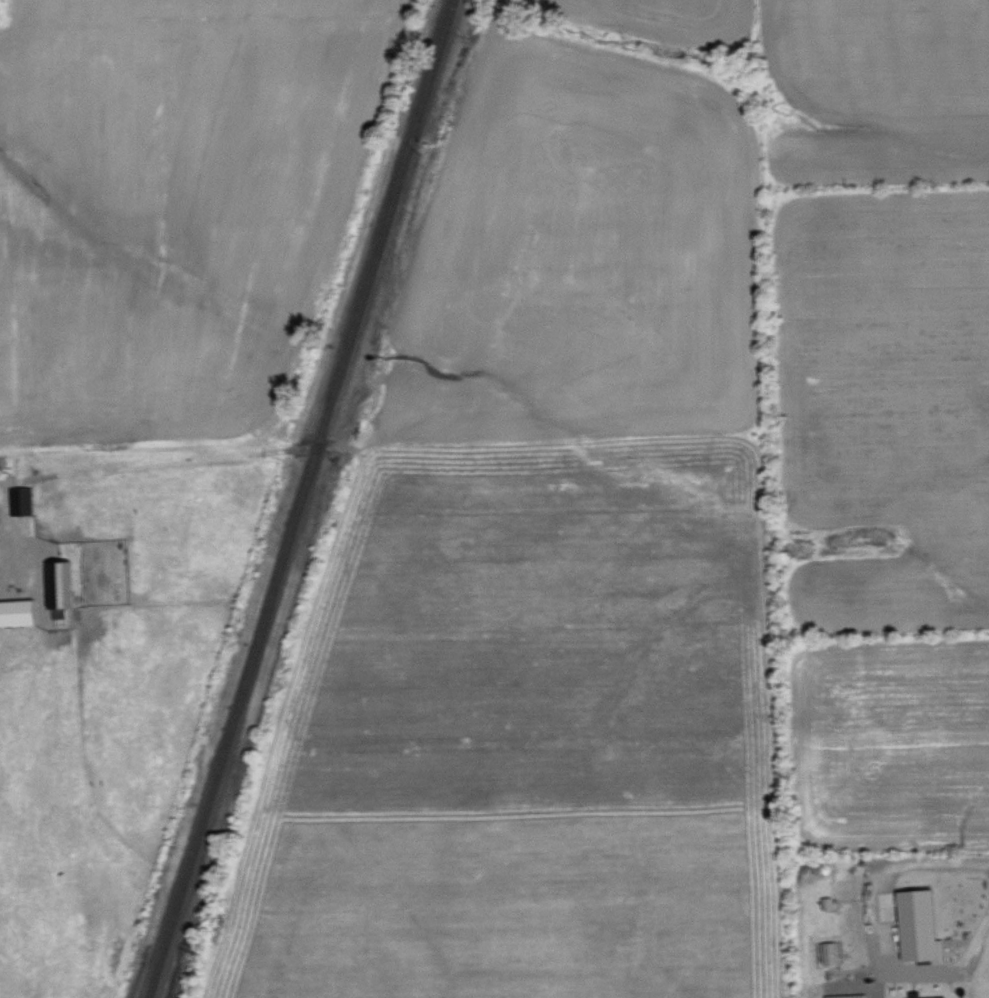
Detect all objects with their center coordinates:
railway: (297, 499)
building: (23, 500)
road: (5, 536)
building: (63, 583)
building: (19, 612)
building: (829, 902)
building: (922, 925)
building: (831, 952)
building: (916, 993)

